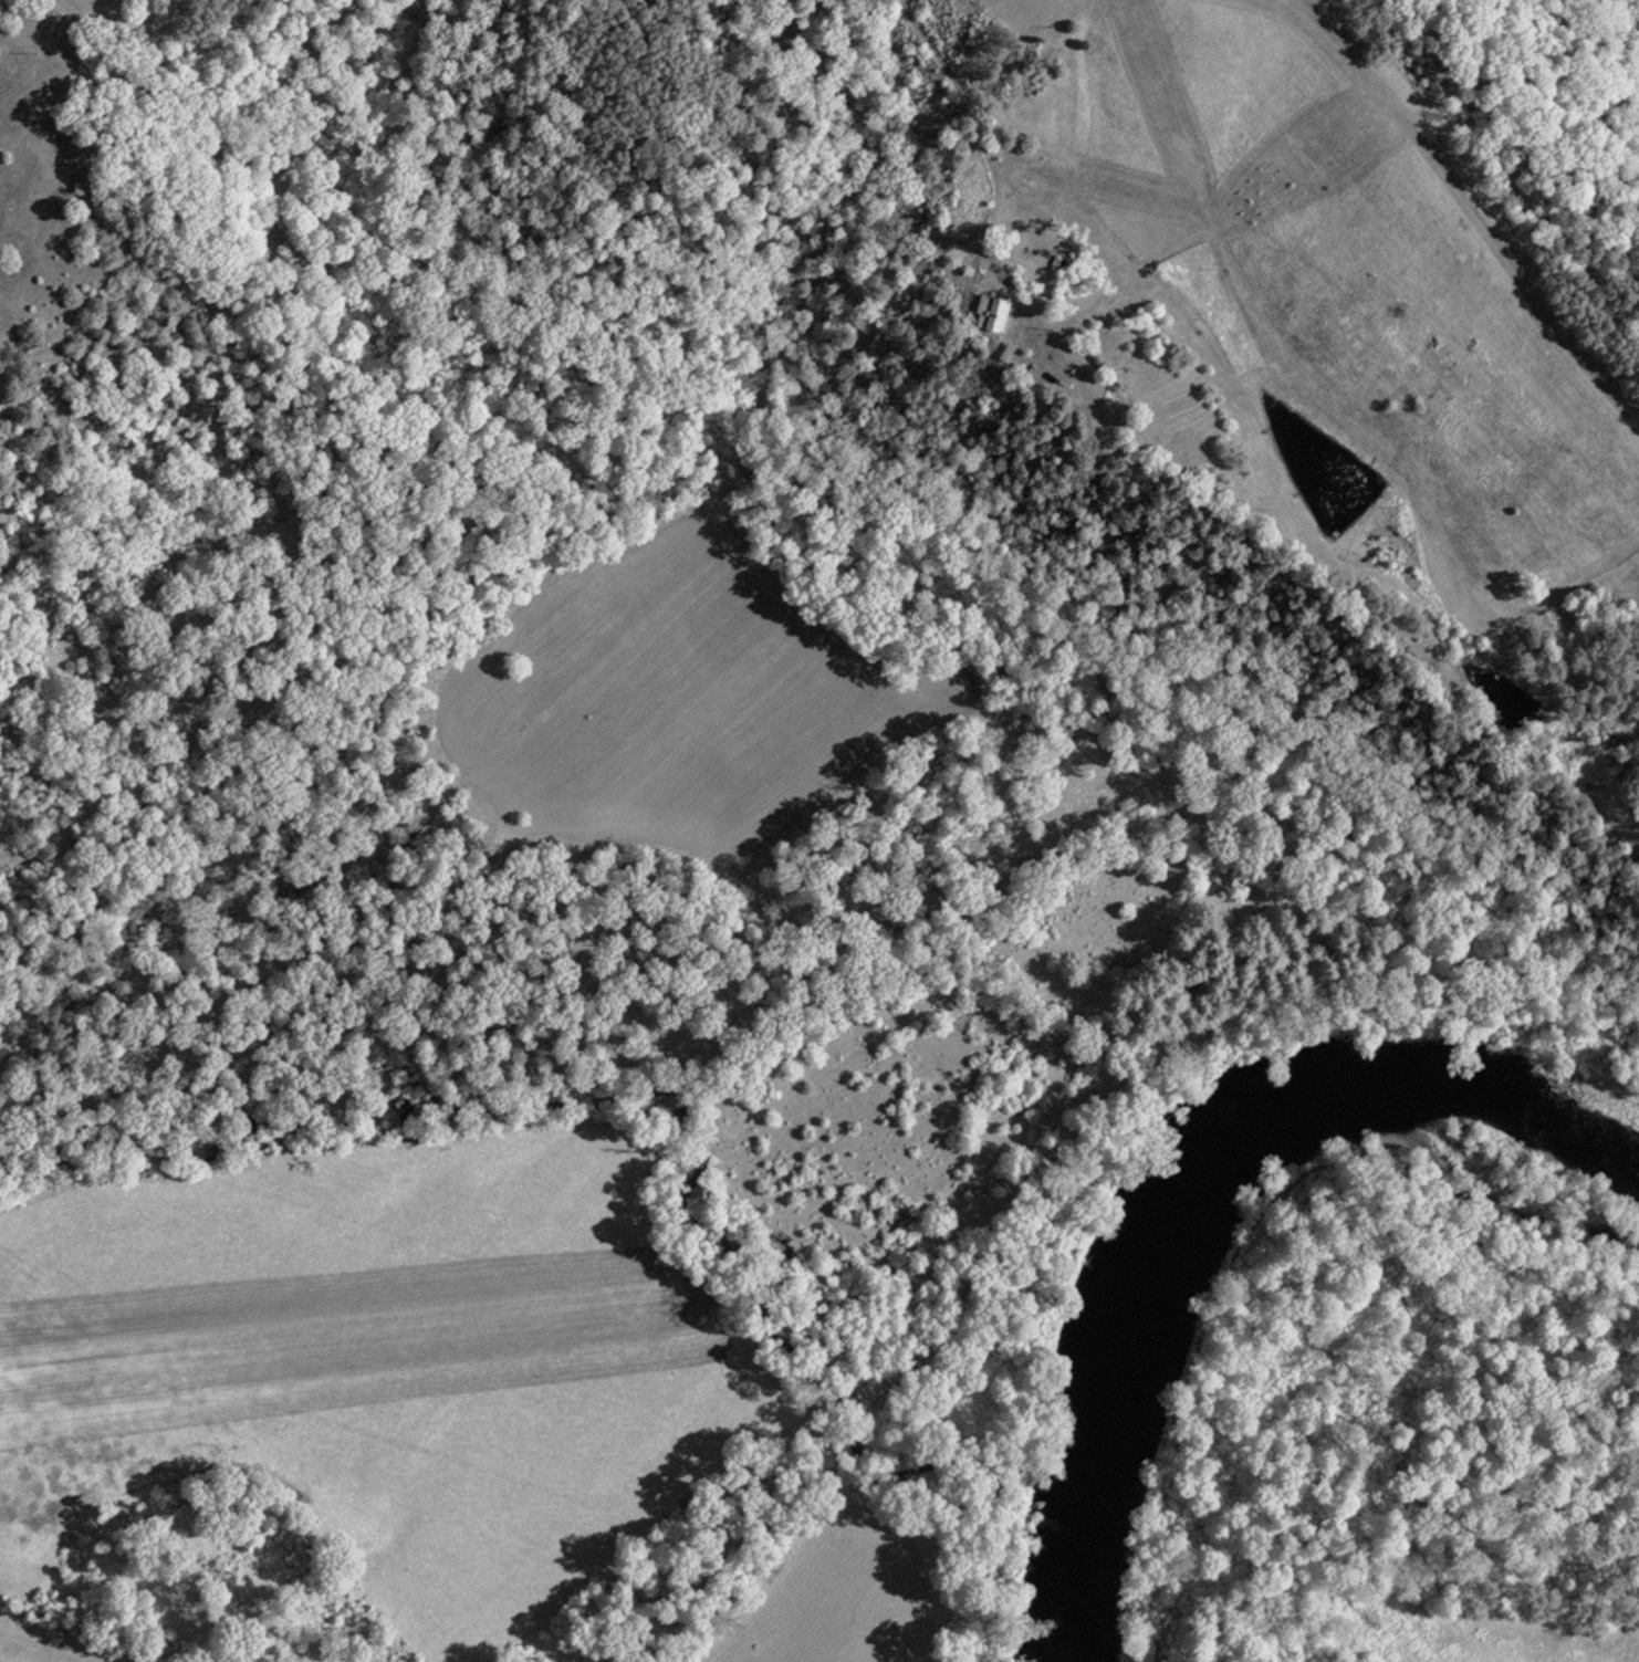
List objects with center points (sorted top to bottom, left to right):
building: (991, 311)
river: (1205, 1189)
crop: (1487, 1639)

